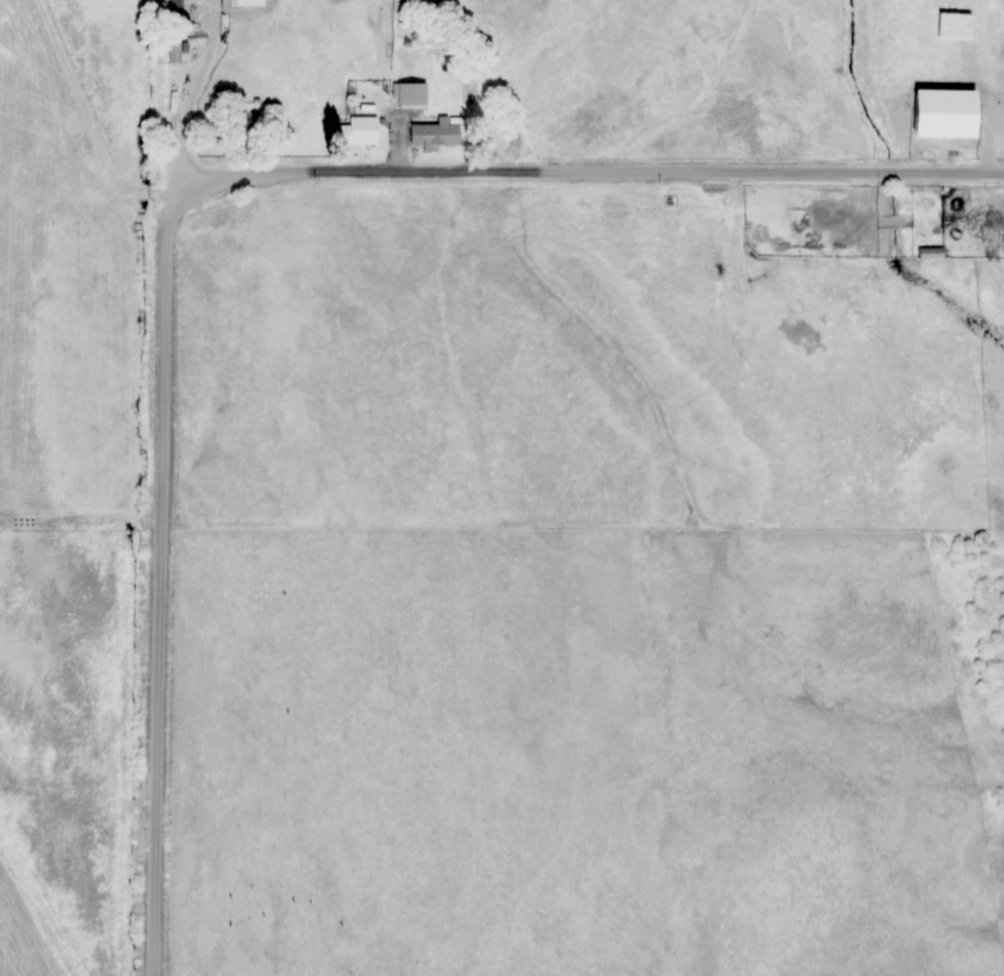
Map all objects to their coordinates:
building: (249, 3)
building: (175, 7)
building: (412, 100)
building: (246, 122)
building: (942, 129)
building: (356, 132)
building: (435, 135)
road: (251, 234)
building: (929, 253)

